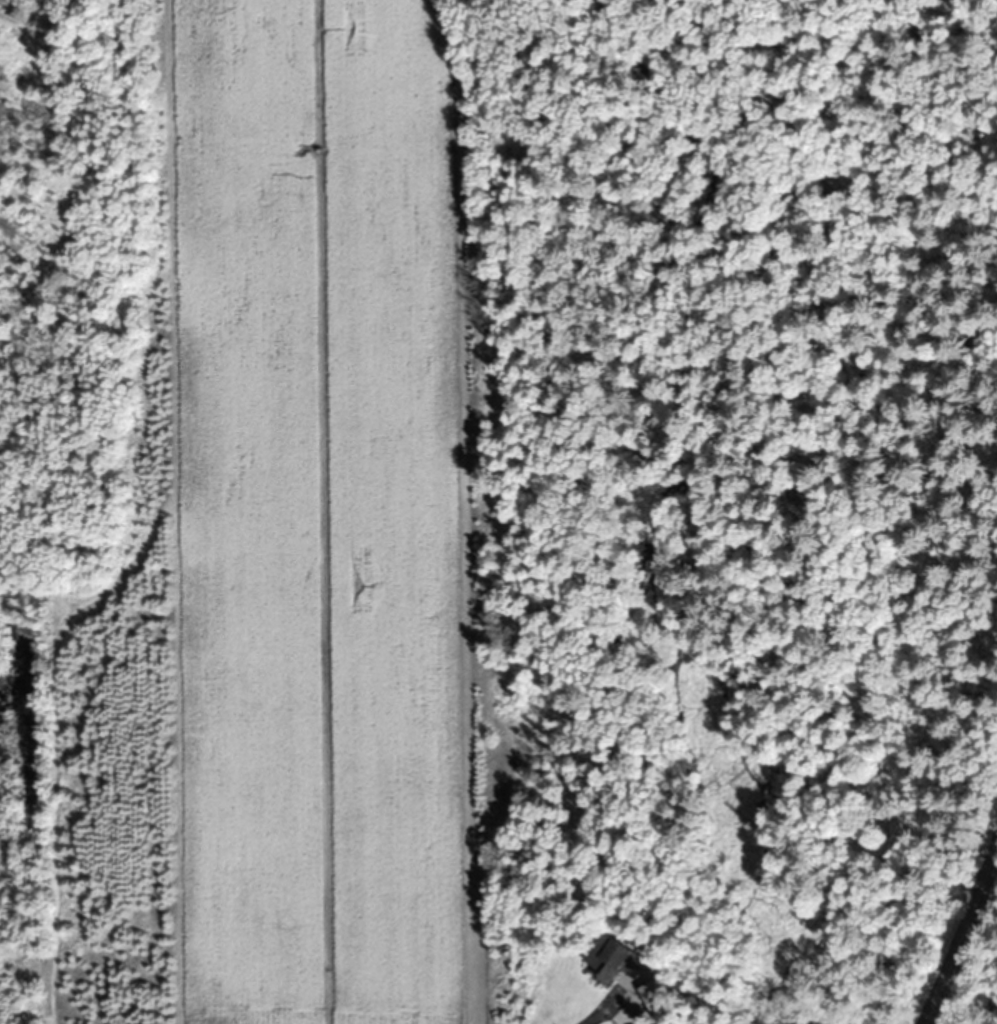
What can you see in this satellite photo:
road: (959, 938)
building: (620, 965)
building: (622, 1016)

